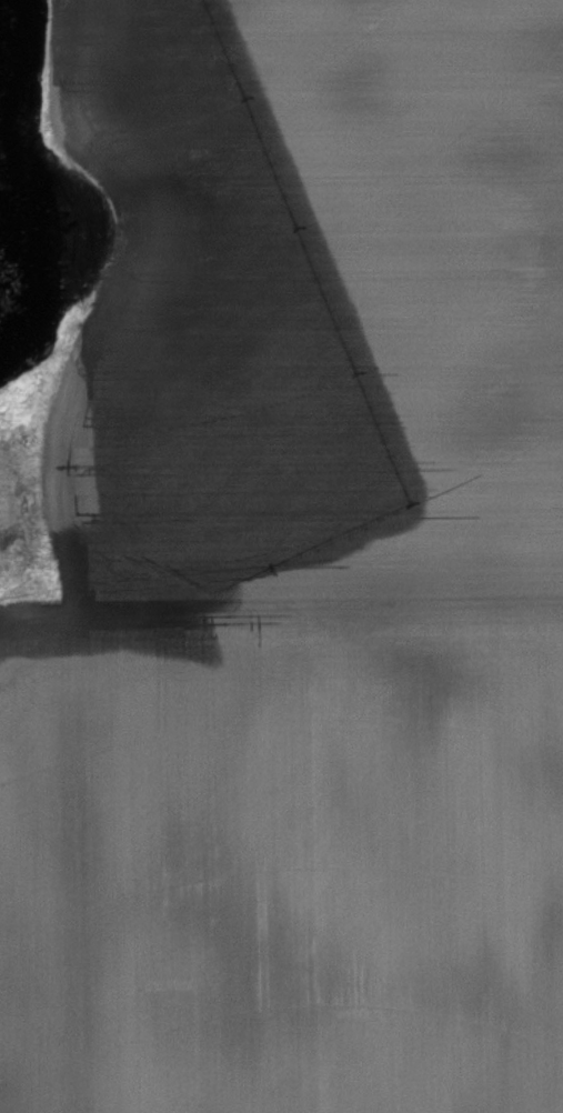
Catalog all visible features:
crop: (319, 320)
crop: (282, 874)

